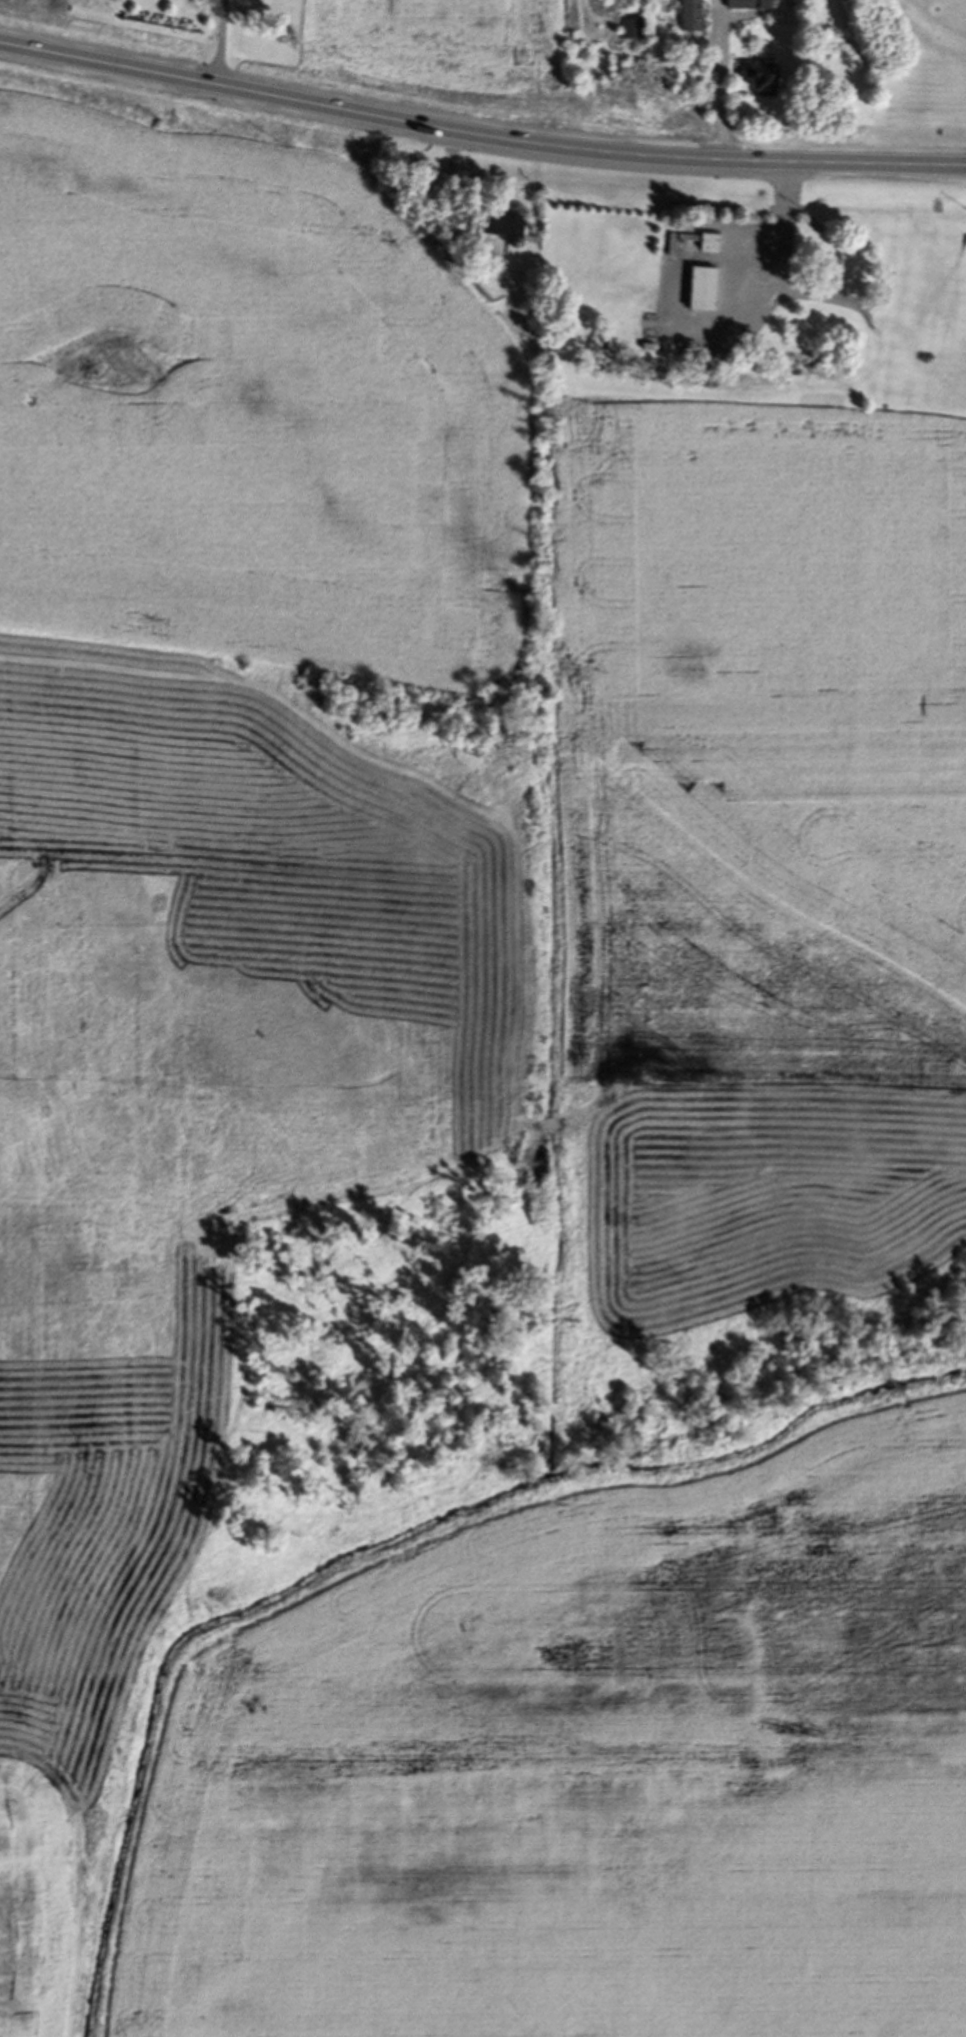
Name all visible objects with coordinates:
building: (744, 6)
park: (88, 7)
building: (689, 17)
building: (627, 32)
road: (216, 43)
road: (714, 81)
building: (761, 85)
road: (479, 137)
building: (495, 228)
building: (705, 246)
building: (697, 293)

